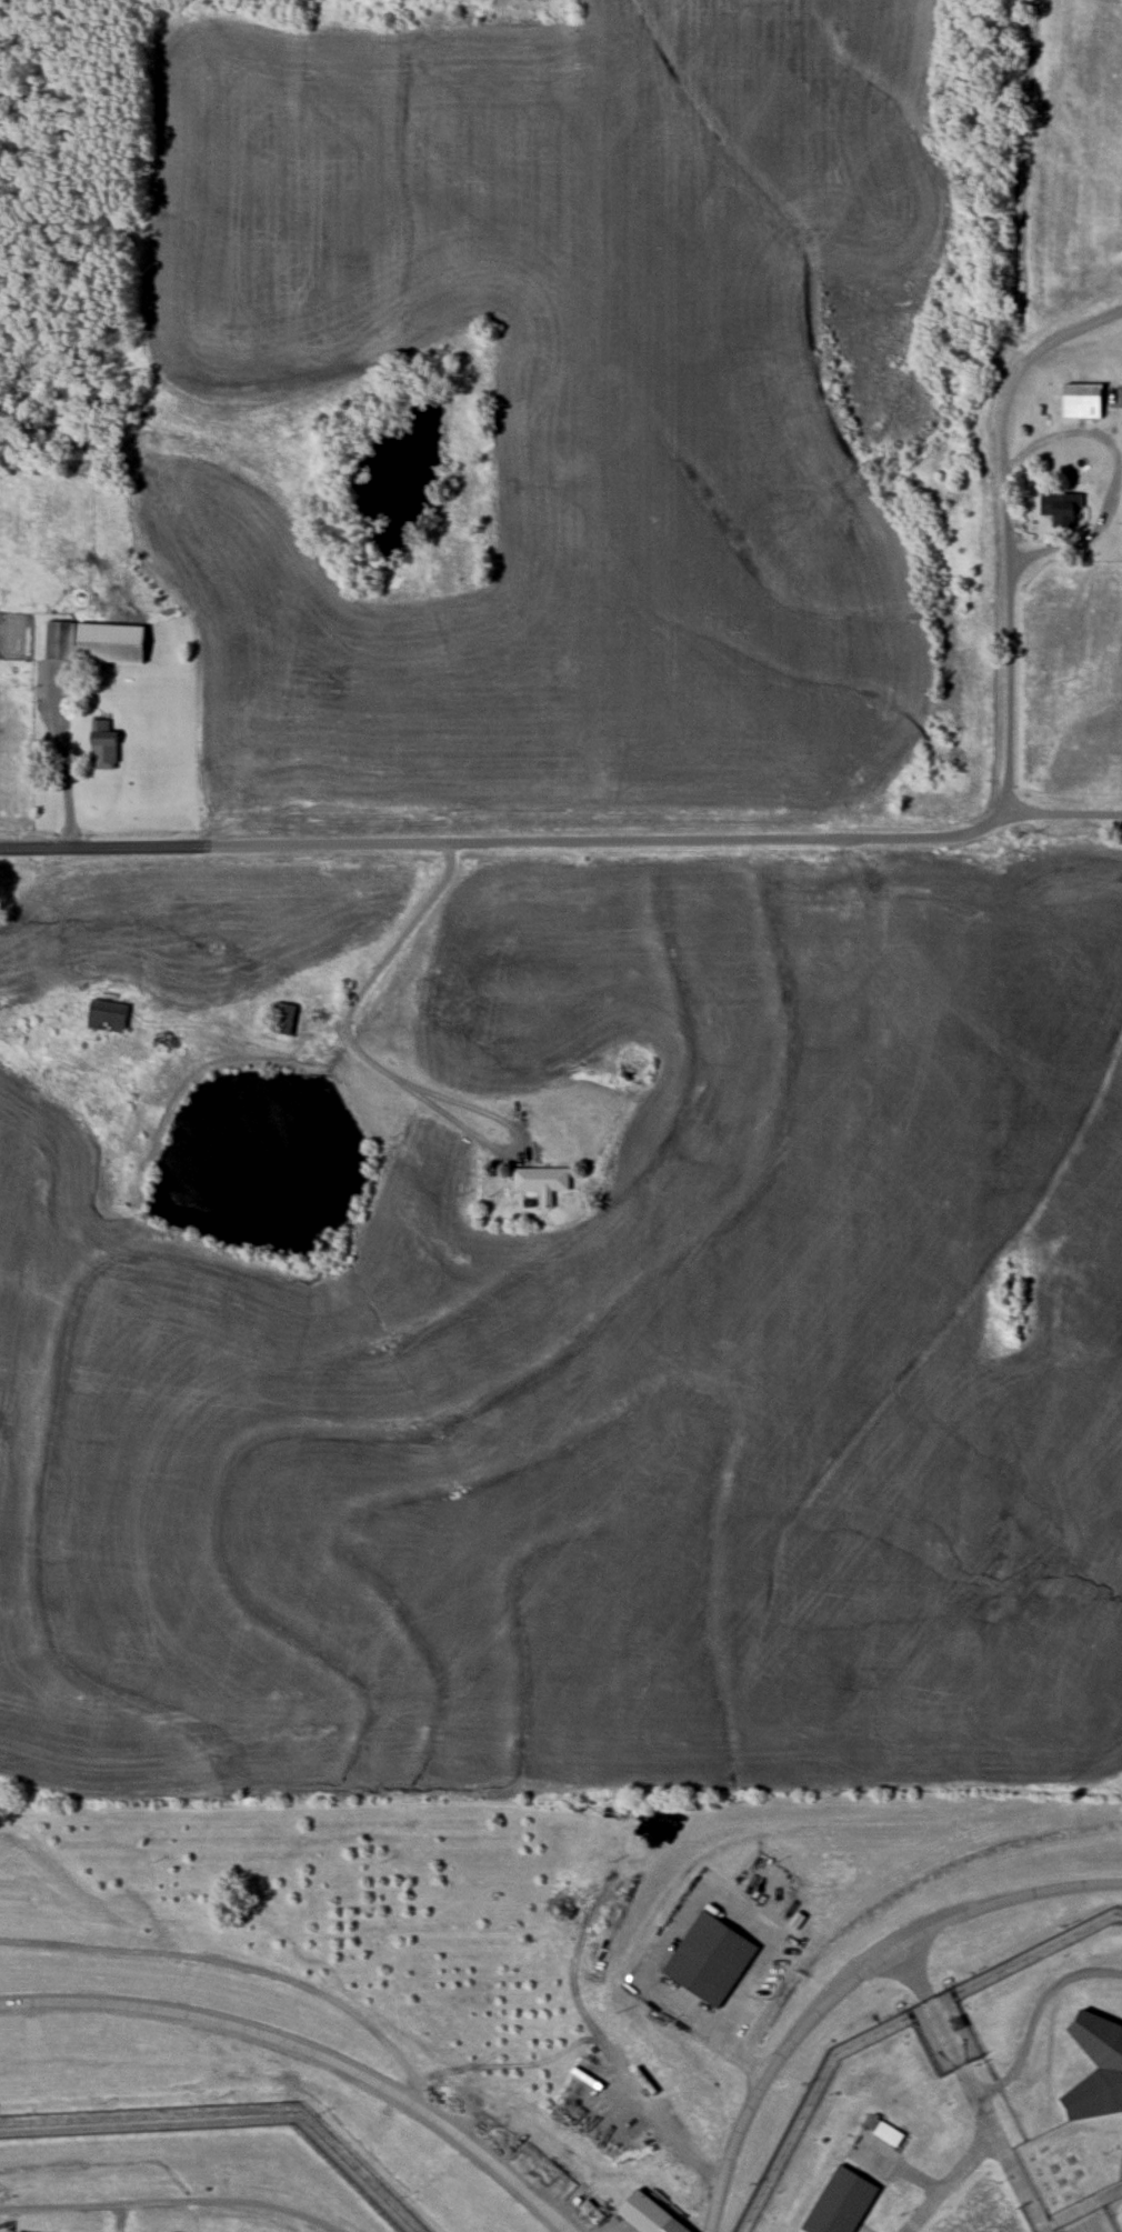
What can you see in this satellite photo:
building: (1082, 401)
road: (1115, 477)
building: (1061, 508)
building: (94, 642)
road: (64, 743)
building: (103, 744)
road: (1062, 812)
road: (789, 839)
road: (404, 939)
road: (59, 942)
building: (108, 1015)
building: (283, 1020)
road: (365, 1054)
road: (458, 1100)
building: (541, 1182)
road: (681, 1919)
building: (709, 1959)
road: (250, 1965)
road: (851, 1983)
road: (1040, 2003)
road: (946, 2035)
road: (311, 2056)
building: (1096, 2066)
road: (986, 2090)
road: (903, 2168)
road: (1015, 2178)
road: (948, 2179)
road: (172, 2201)
building: (841, 2202)
road: (1081, 2208)
building: (649, 2214)
park: (1118, 2215)
road: (1099, 2216)
road: (865, 2226)

